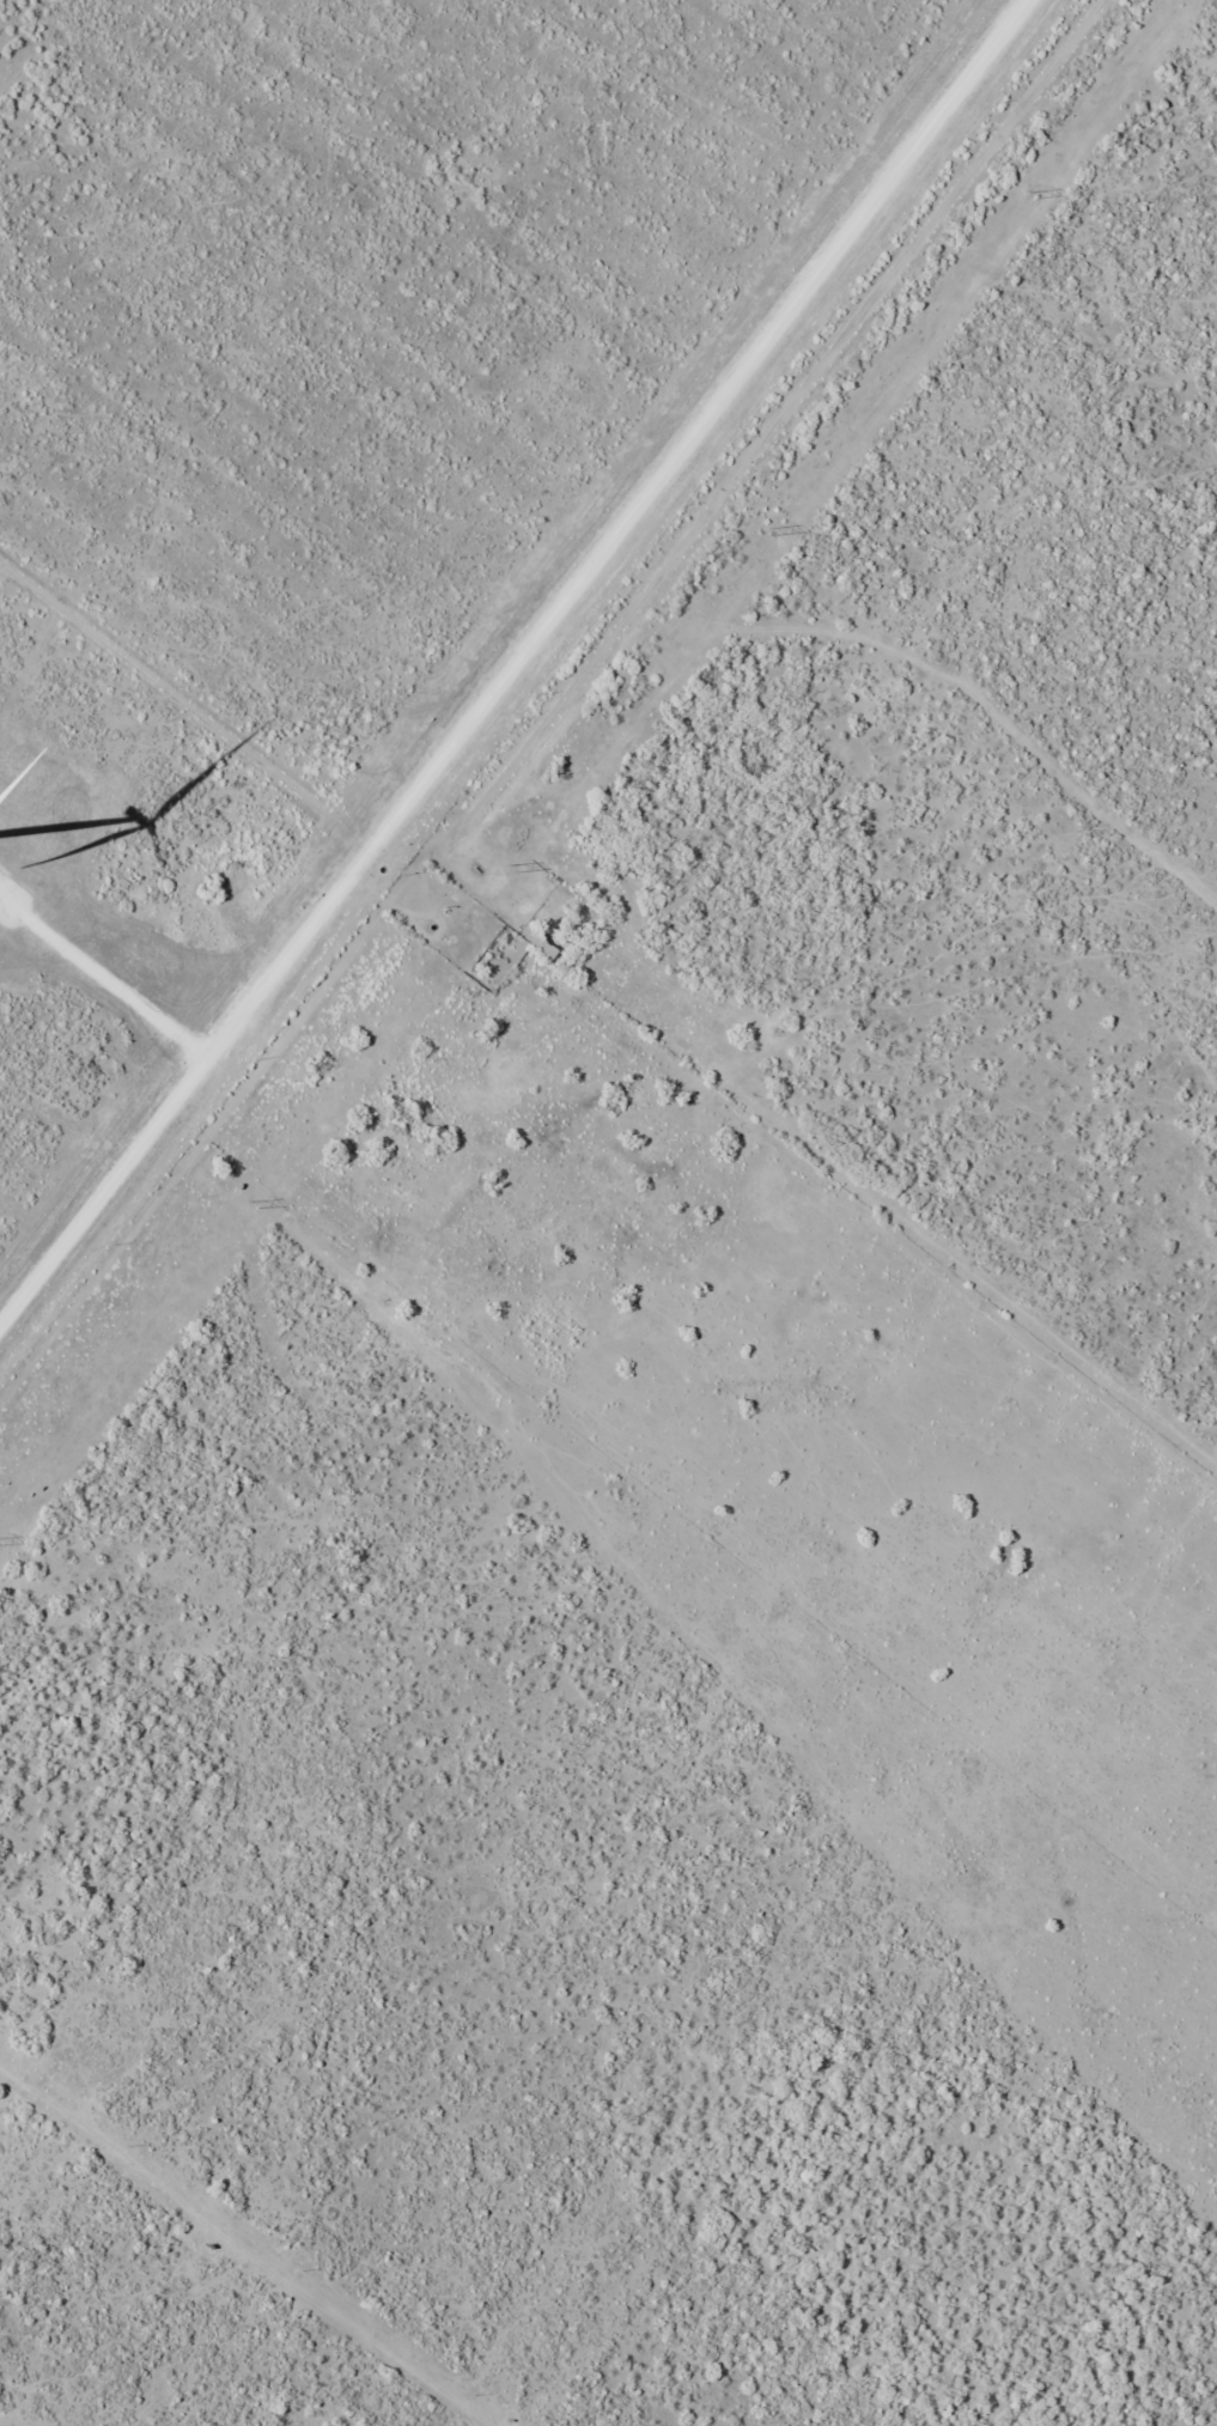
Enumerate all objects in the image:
power tower: (1032, 196)
road: (772, 440)
power tower: (772, 531)
power tower: (511, 870)
building: (556, 900)
power tower: (251, 1205)

